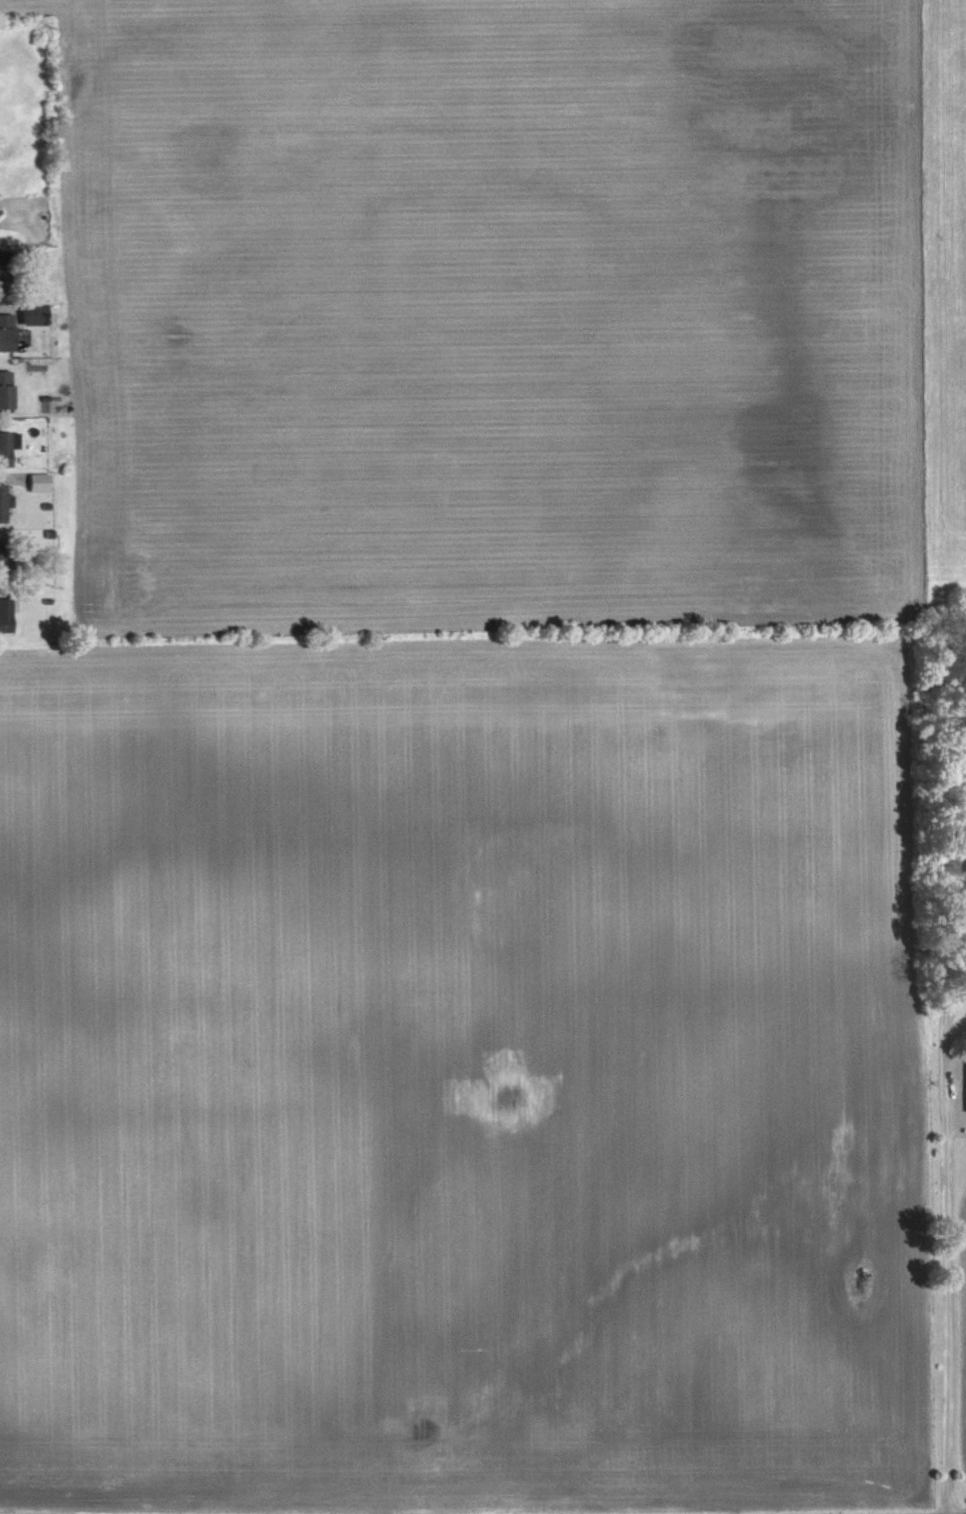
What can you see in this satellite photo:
building: (5, 274)
building: (34, 315)
building: (6, 333)
building: (6, 391)
building: (8, 448)
building: (40, 484)
building: (3, 504)
building: (4, 562)
building: (6, 617)
road: (945, 963)
road: (954, 1004)
road: (946, 1267)

